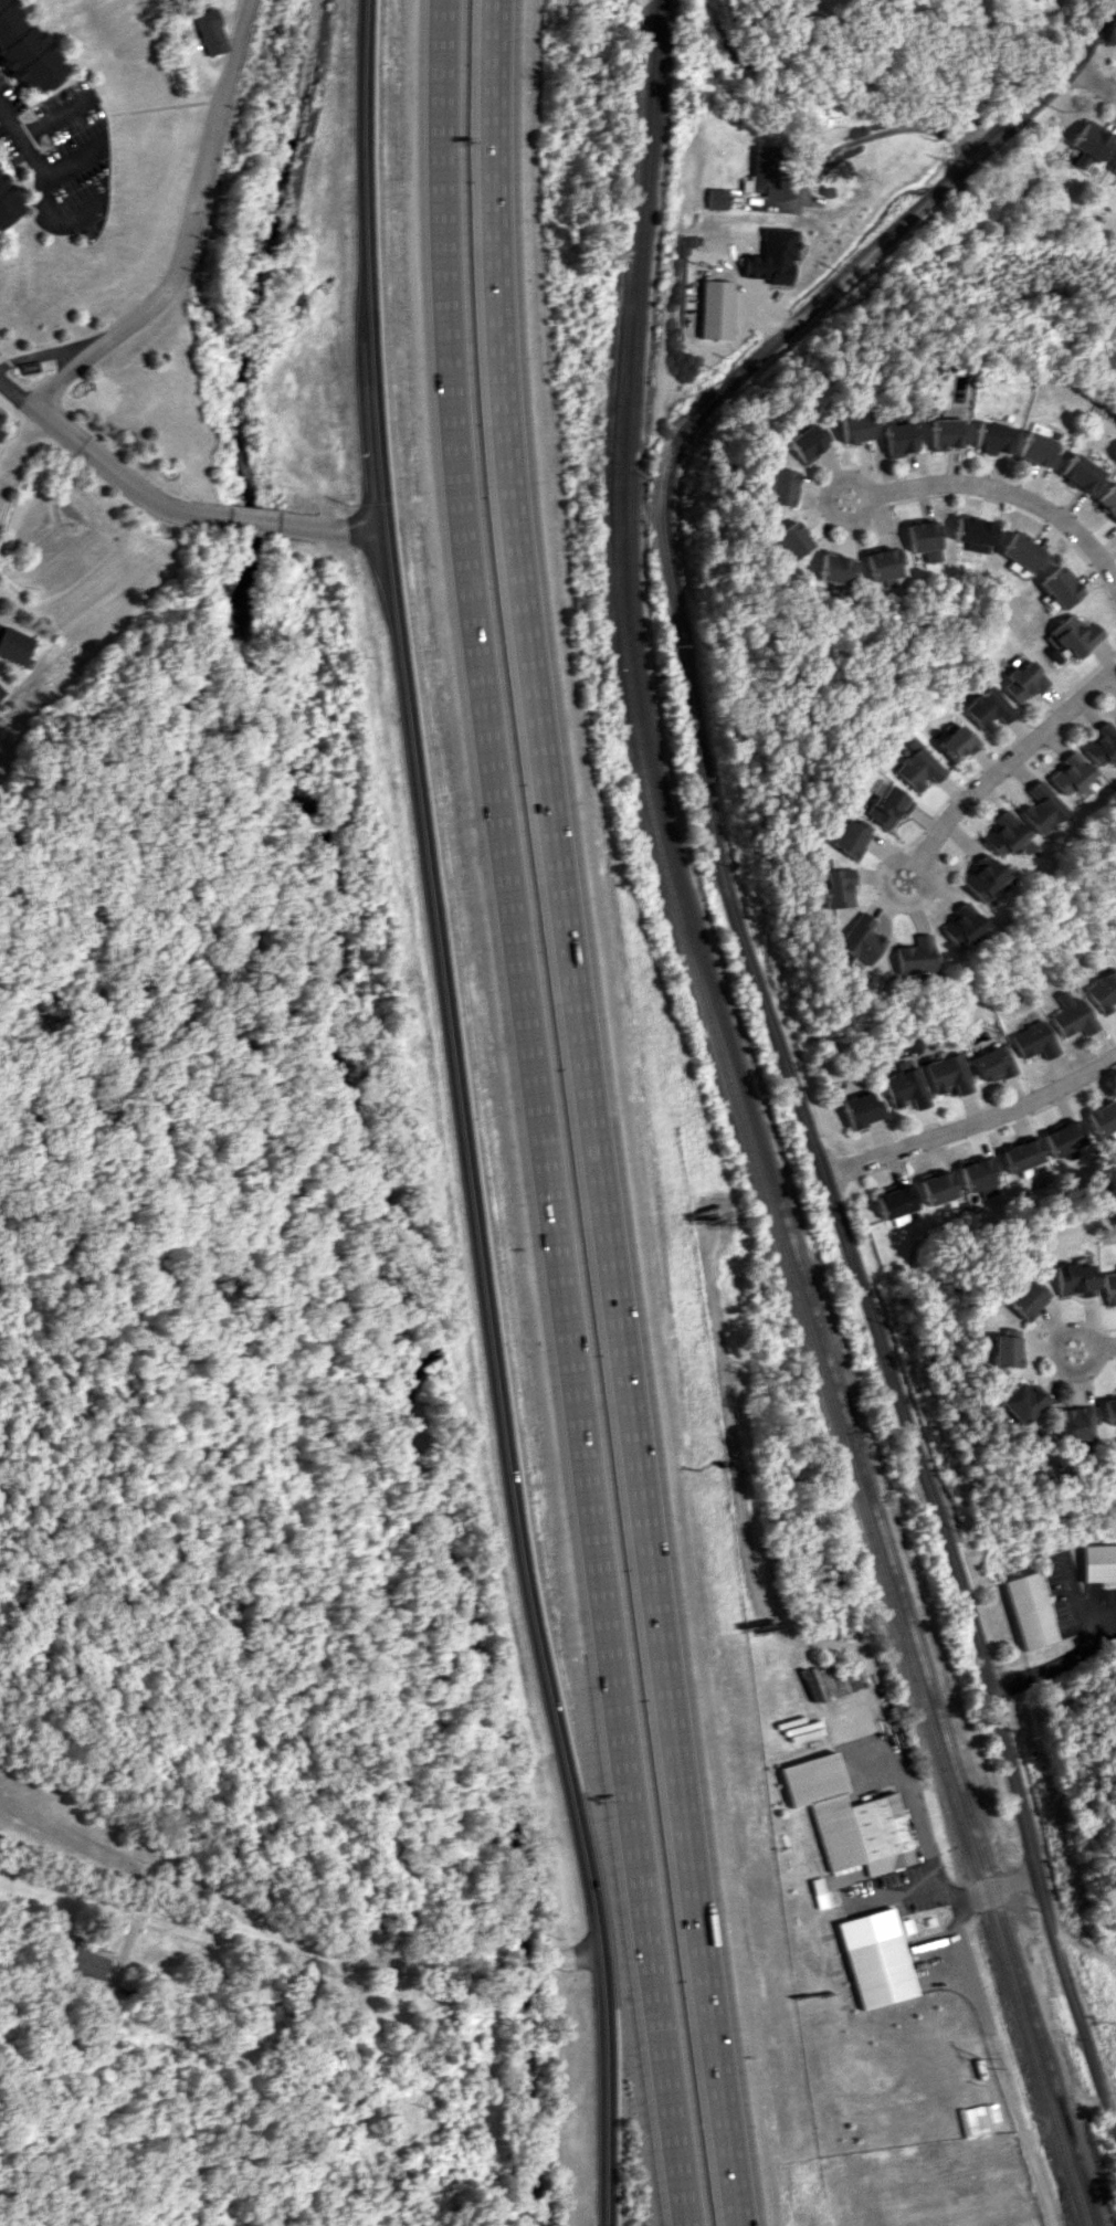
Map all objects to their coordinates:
building: (208, 31)
building: (25, 51)
road: (1060, 76)
road: (1093, 80)
road: (54, 116)
road: (901, 130)
building: (1089, 145)
road: (70, 158)
road: (34, 163)
building: (1113, 169)
building: (766, 175)
building: (717, 198)
building: (7, 200)
road: (78, 212)
road: (185, 231)
building: (773, 256)
building: (715, 309)
building: (853, 426)
building: (947, 433)
building: (901, 437)
building: (996, 437)
road: (19, 440)
building: (804, 441)
building: (1040, 450)
building: (1082, 473)
road: (1001, 484)
building: (777, 486)
building: (1109, 499)
road: (176, 507)
building: (976, 532)
building: (788, 539)
building: (925, 540)
building: (1024, 553)
building: (883, 563)
building: (833, 568)
building: (1062, 587)
building: (1074, 637)
building: (14, 644)
building: (1024, 682)
building: (1, 692)
building: (989, 707)
building: (958, 742)
building: (1101, 745)
road: (1008, 760)
building: (920, 767)
building: (1071, 773)
building: (889, 805)
building: (1042, 808)
building: (1008, 835)
building: (849, 838)
building: (985, 878)
building: (835, 887)
building: (960, 925)
building: (856, 941)
building: (912, 954)
building: (1102, 991)
building: (1070, 1015)
building: (1031, 1040)
building: (990, 1064)
building: (946, 1074)
road: (792, 1082)
building: (904, 1088)
building: (862, 1109)
road: (537, 1115)
road: (590, 1115)
road: (462, 1116)
road: (972, 1116)
building: (1102, 1117)
railway: (744, 1130)
building: (1063, 1138)
building: (1020, 1154)
building: (978, 1172)
building: (937, 1186)
building: (895, 1201)
building: (1075, 1279)
building: (1110, 1287)
building: (1024, 1300)
road: (1095, 1349)
building: (1000, 1351)
building: (1017, 1402)
building: (1107, 1410)
building: (1068, 1422)
building: (1098, 1562)
building: (1029, 1610)
road: (1054, 1664)
road: (912, 1806)
building: (849, 1817)
road: (134, 1839)
road: (973, 1895)
road: (296, 1945)
building: (876, 1958)
building: (86, 1963)
power tower: (986, 2060)
building: (978, 2119)

